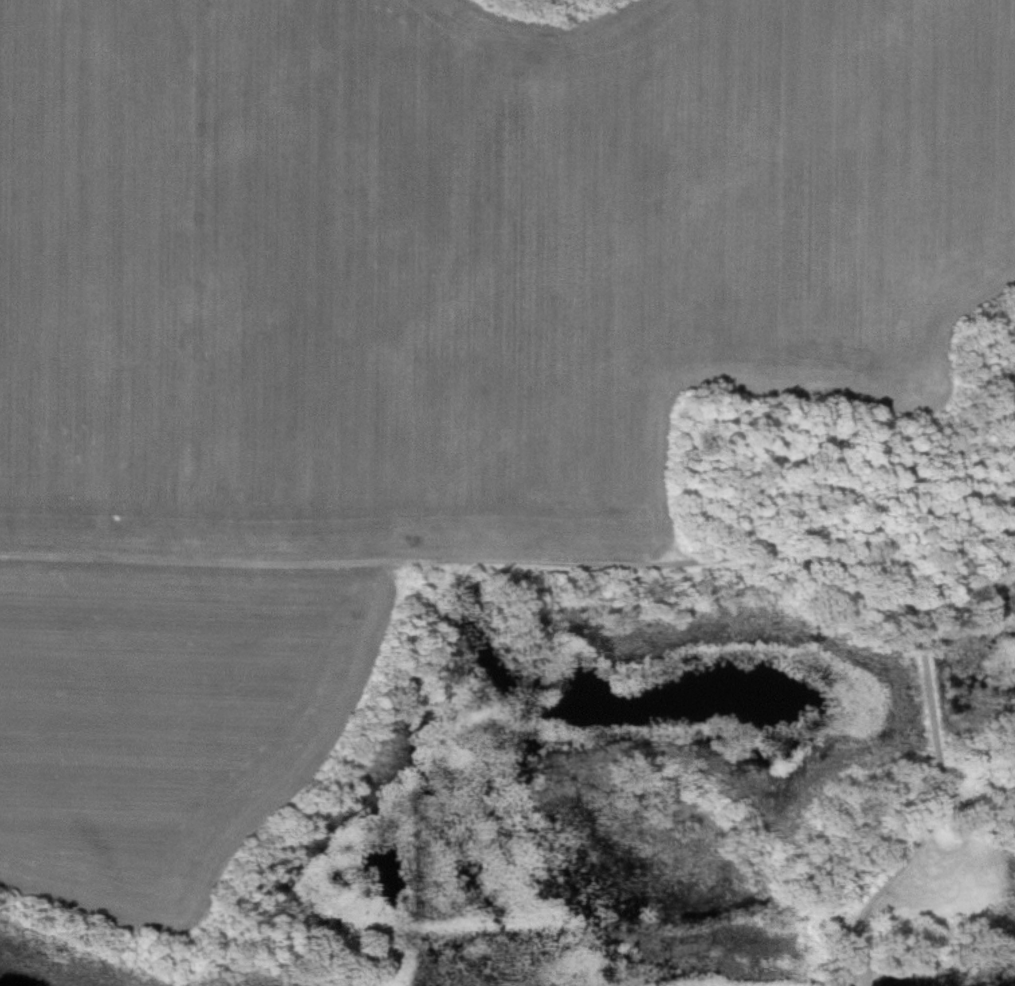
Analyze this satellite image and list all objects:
road: (648, 565)
road: (860, 964)

